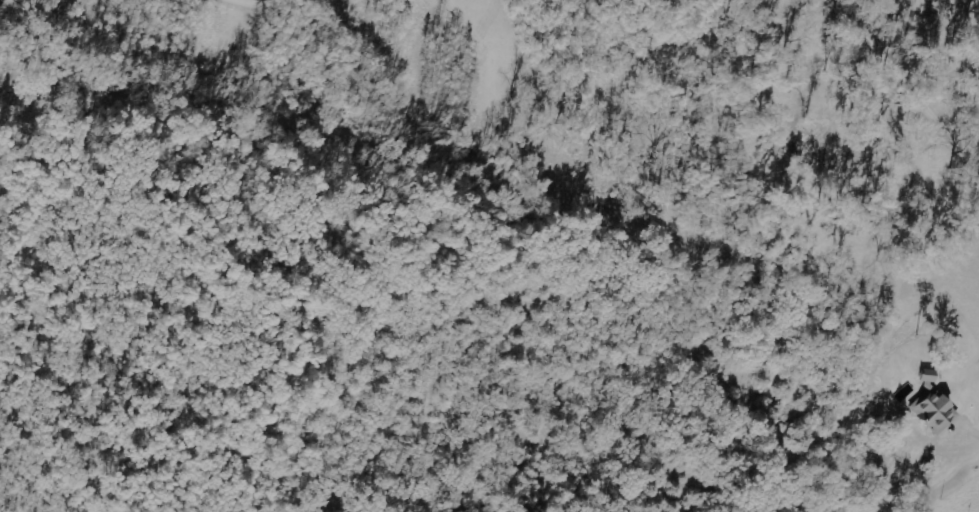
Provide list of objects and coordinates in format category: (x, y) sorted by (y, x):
building: (932, 409)
road: (969, 441)

